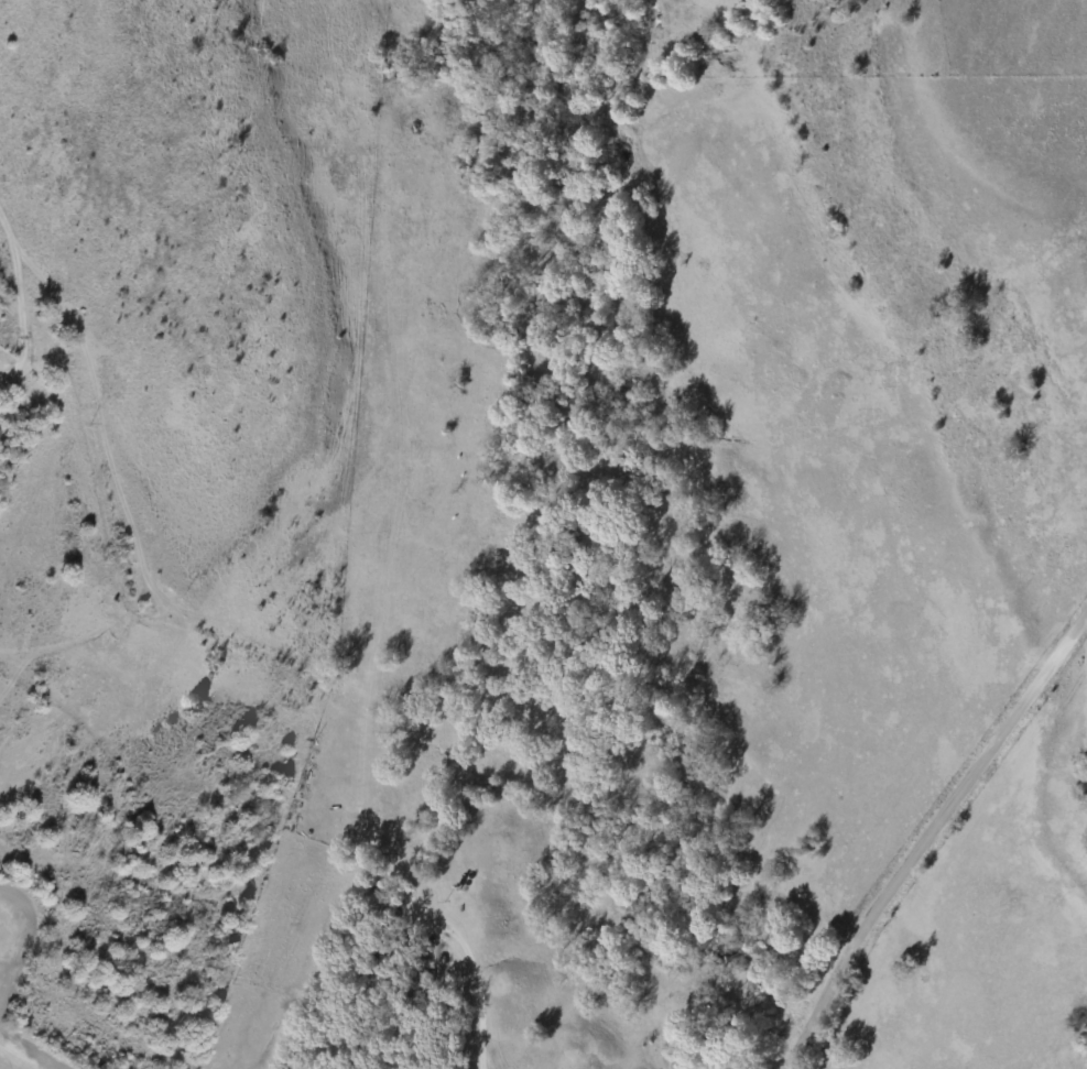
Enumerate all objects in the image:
road: (4, 192)
road: (935, 835)

